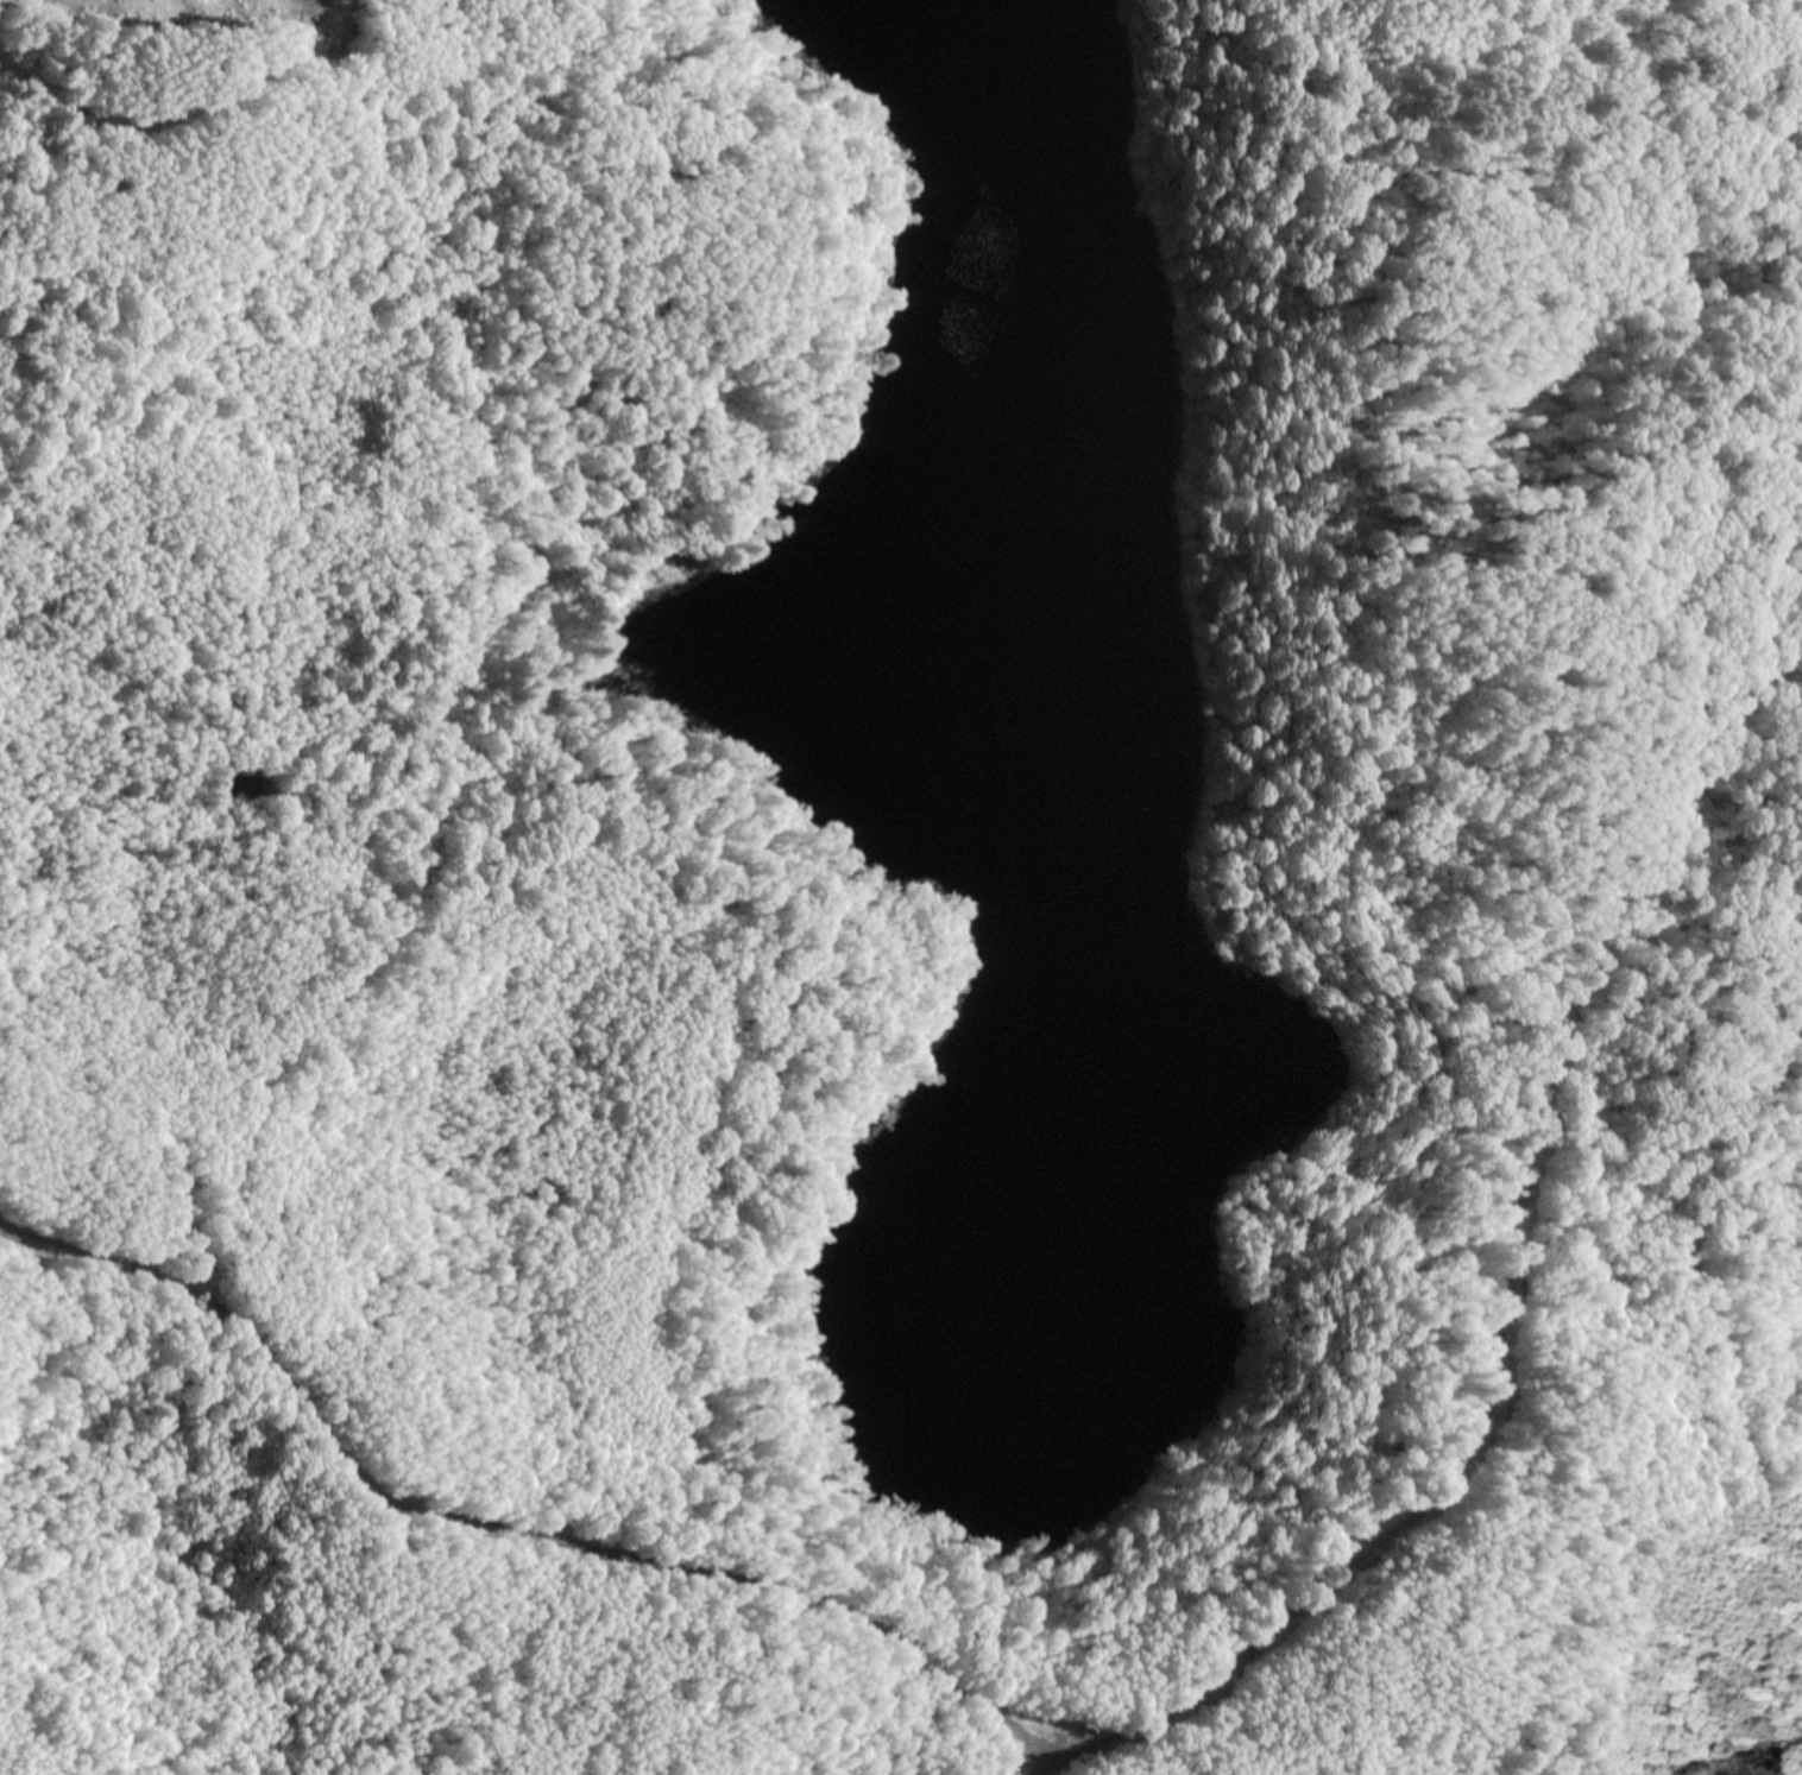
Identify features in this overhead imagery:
quarry: (235, 23)
quarry: (251, 878)
road: (378, 943)
road: (1505, 1270)
road: (499, 1530)

